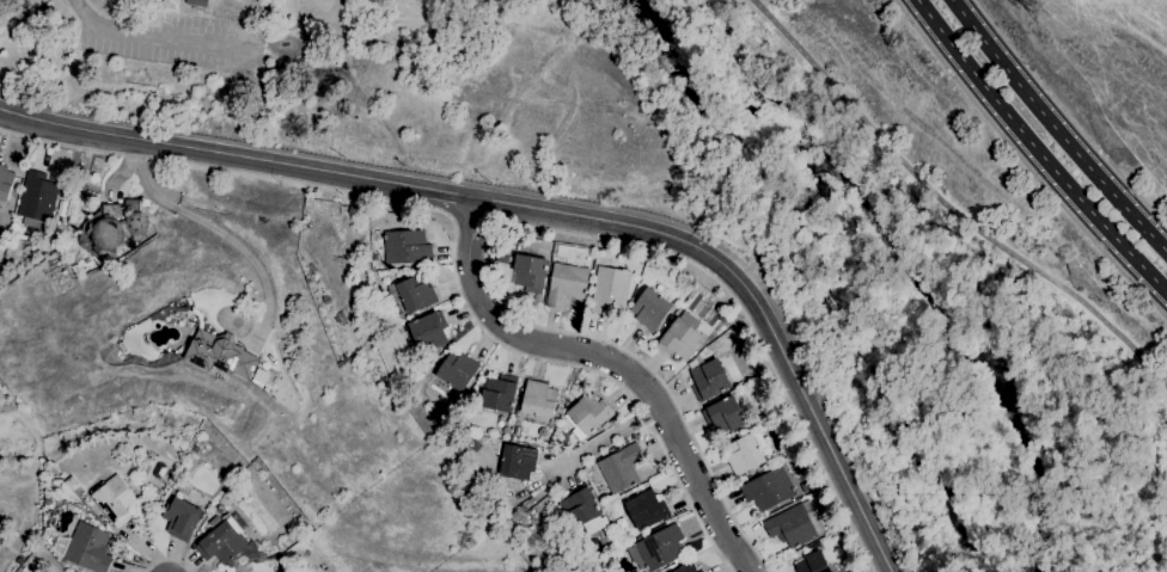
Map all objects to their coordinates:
building: (196, 2)
power tower: (1040, 11)
road: (86, 13)
road: (175, 42)
road: (1068, 115)
road: (1059, 124)
road: (178, 147)
road: (1037, 149)
road: (1026, 164)
road: (116, 177)
building: (5, 183)
road: (417, 189)
building: (37, 199)
building: (62, 204)
road: (948, 207)
building: (112, 227)
road: (531, 227)
road: (220, 232)
road: (453, 232)
building: (407, 247)
river: (876, 256)
building: (530, 272)
building: (566, 284)
building: (609, 289)
building: (411, 293)
road: (752, 300)
building: (649, 308)
building: (427, 332)
building: (680, 337)
building: (220, 353)
road: (611, 362)
building: (454, 371)
building: (257, 377)
building: (709, 380)
building: (499, 393)
building: (538, 399)
building: (587, 414)
building: (725, 414)
building: (611, 422)
building: (517, 431)
road: (606, 437)
building: (622, 442)
building: (744, 454)
building: (518, 461)
building: (621, 467)
building: (768, 488)
building: (540, 491)
building: (114, 499)
building: (581, 509)
building: (647, 509)
building: (181, 518)
building: (794, 525)
building: (221, 540)
building: (87, 547)
building: (659, 547)
road: (166, 559)
building: (815, 564)
building: (686, 567)
building: (228, 570)
building: (701, 571)

